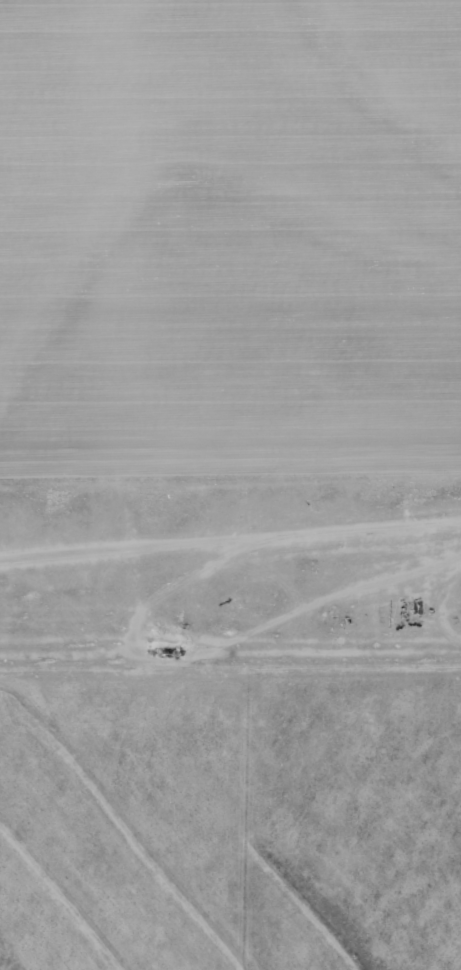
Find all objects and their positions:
road: (230, 538)

